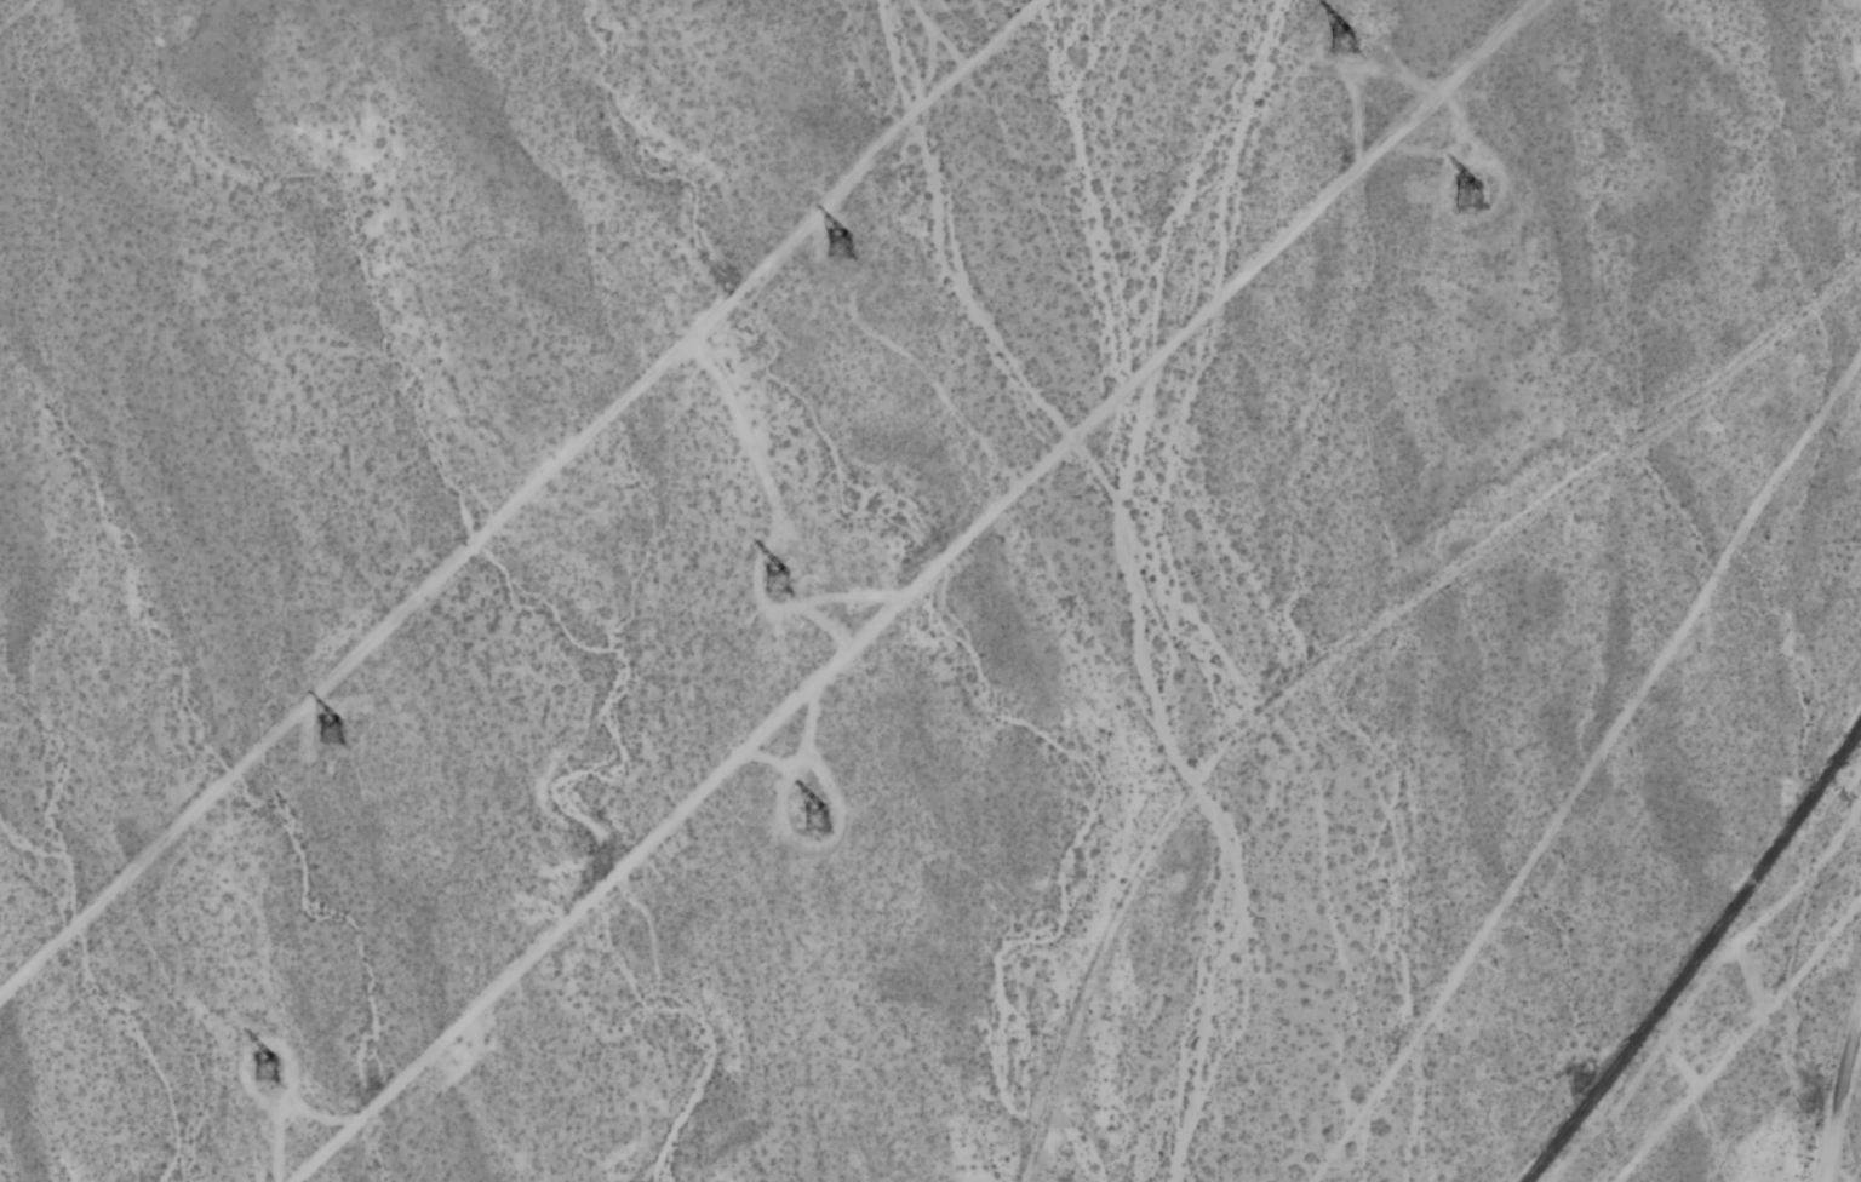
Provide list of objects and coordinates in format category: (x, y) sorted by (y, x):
power tower: (1339, 36)
power tower: (1472, 194)
power tower: (840, 241)
power tower: (767, 580)
road: (904, 589)
power tower: (331, 727)
road: (1588, 767)
power tower: (809, 814)
railway: (1695, 954)
power tower: (270, 1067)
road: (1837, 1091)

